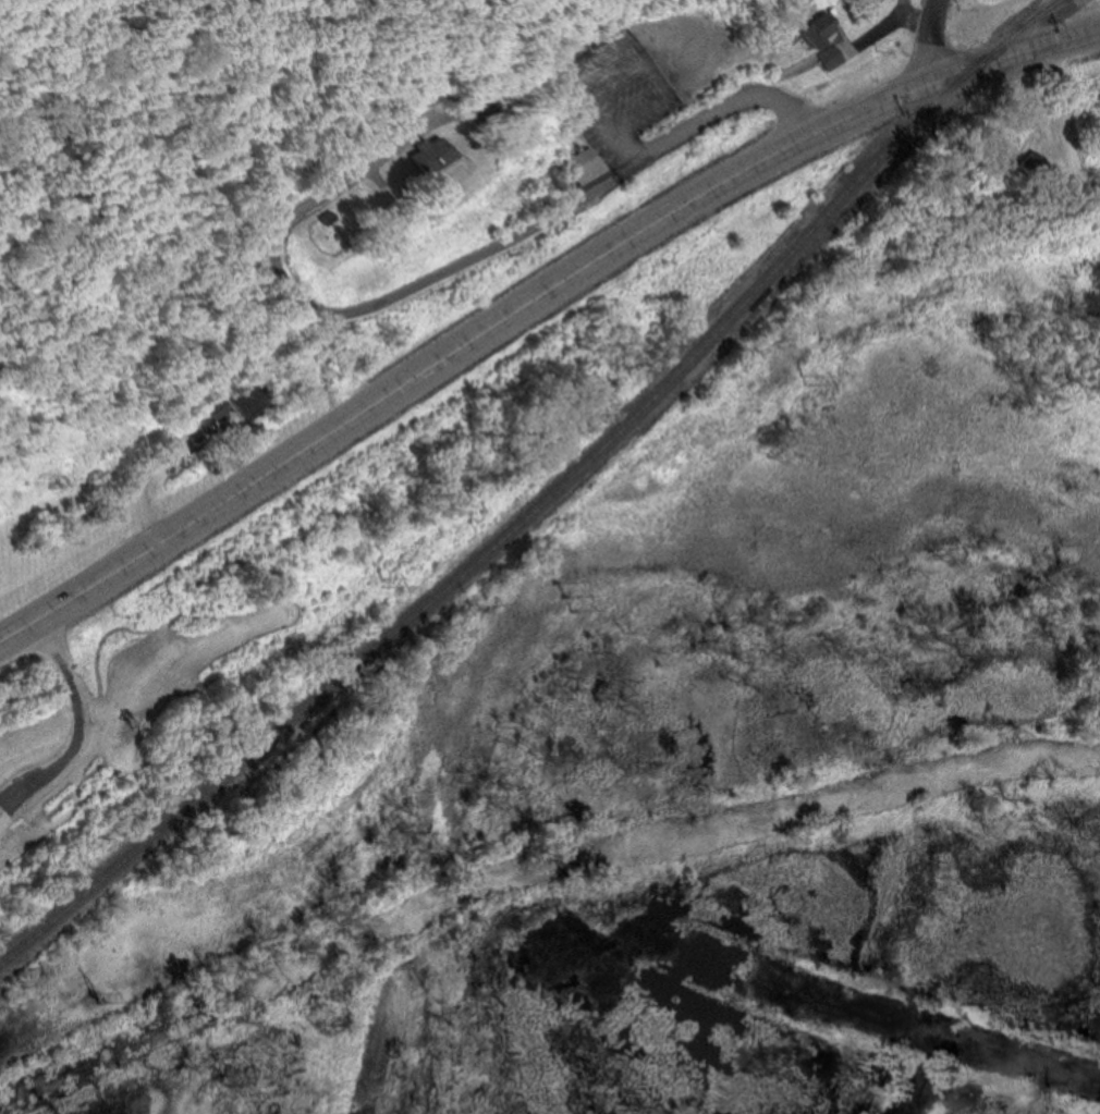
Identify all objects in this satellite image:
road: (1067, 38)
road: (928, 40)
building: (577, 47)
building: (834, 56)
building: (579, 96)
road: (722, 110)
road: (1064, 131)
building: (440, 154)
building: (579, 155)
building: (1002, 156)
road: (346, 307)
road: (506, 322)
power tower: (802, 379)
building: (254, 396)
building: (215, 407)
railway: (547, 499)
power tower: (381, 583)
power tower: (559, 592)
road: (77, 721)
building: (3, 818)
power tower: (96, 999)

